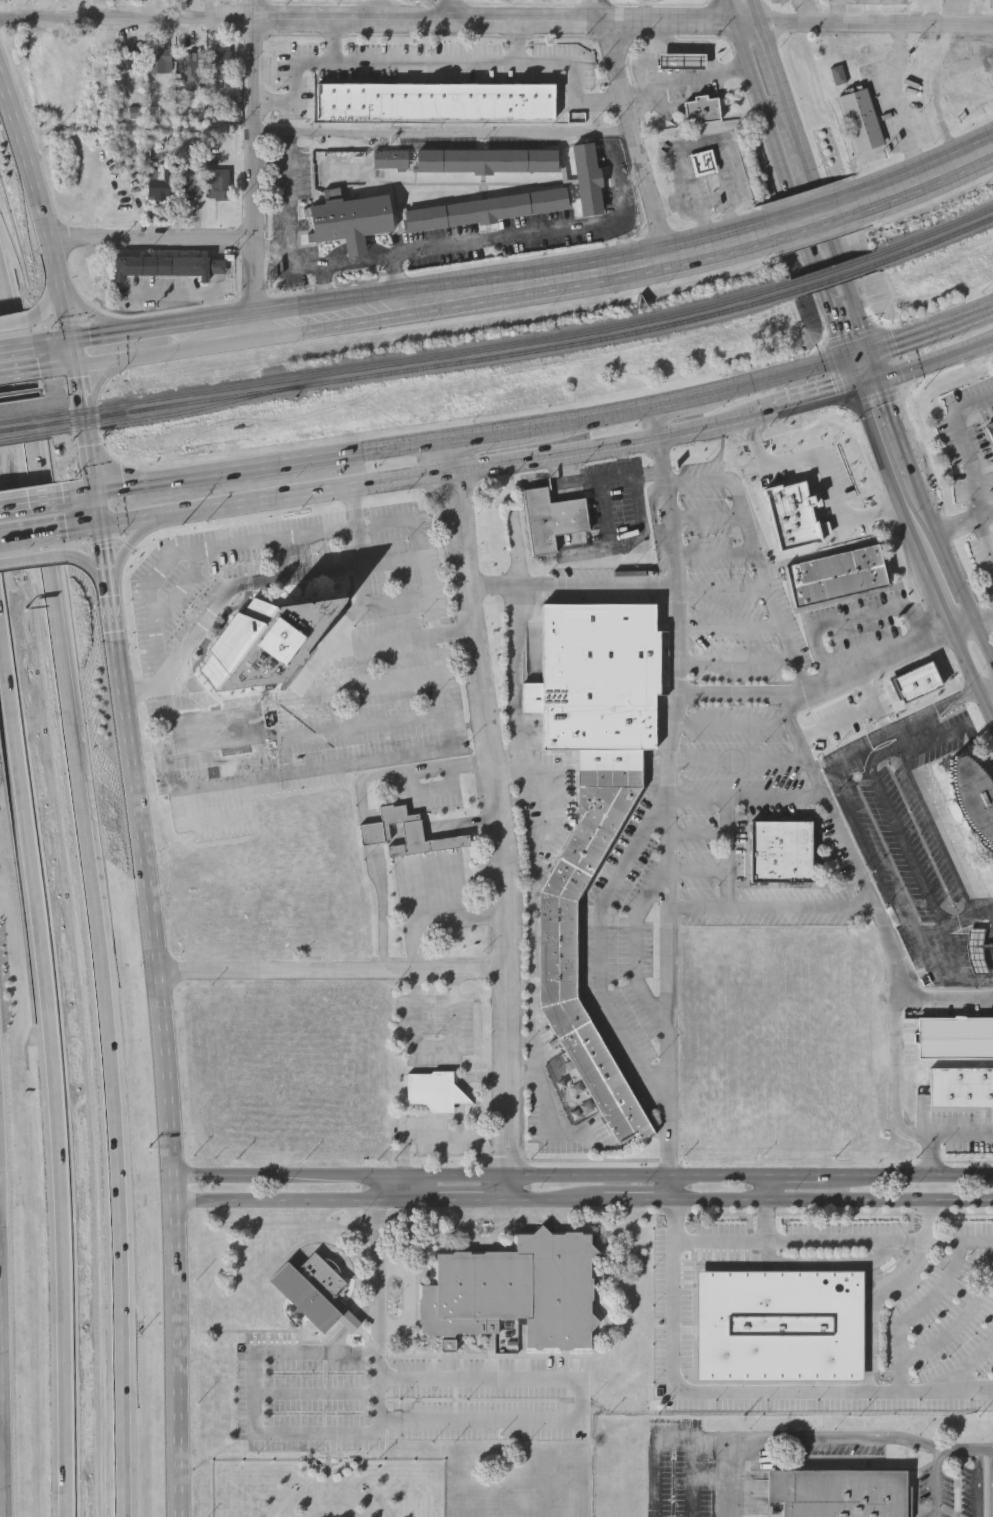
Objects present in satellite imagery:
road: (454, 11)
road: (762, 12)
road: (809, 12)
road: (840, 12)
road: (874, 12)
road: (958, 12)
road: (979, 12)
road: (383, 21)
road: (879, 25)
road: (664, 36)
road: (334, 42)
road: (520, 43)
road: (967, 46)
road: (671, 47)
building: (134, 58)
road: (777, 58)
building: (160, 62)
road: (436, 64)
building: (681, 64)
gas station: (681, 64)
building: (218, 65)
road: (979, 68)
building: (838, 75)
road: (688, 79)
building: (966, 91)
road: (761, 99)
road: (899, 102)
building: (434, 103)
road: (938, 108)
building: (701, 110)
building: (860, 120)
road: (460, 132)
road: (638, 140)
road: (697, 140)
road: (803, 140)
building: (390, 159)
road: (254, 160)
building: (487, 162)
building: (701, 165)
road: (929, 174)
building: (587, 181)
building: (190, 183)
building: (219, 185)
building: (160, 187)
road: (291, 195)
road: (40, 201)
building: (487, 211)
road: (826, 214)
road: (815, 217)
building: (351, 223)
road: (800, 225)
railway: (931, 233)
road: (153, 238)
railway: (933, 241)
road: (468, 247)
road: (273, 251)
building: (167, 267)
railway: (833, 270)
railway: (835, 276)
road: (400, 280)
road: (534, 282)
road: (853, 297)
road: (48, 306)
road: (826, 307)
road: (88, 315)
road: (253, 321)
road: (13, 324)
road: (118, 329)
road: (932, 331)
traffic signals: (72, 336)
road: (14, 345)
traffic signals: (872, 354)
road: (123, 356)
railway: (419, 356)
road: (858, 359)
traffic signals: (77, 364)
railway: (421, 364)
traffic signals: (845, 364)
road: (938, 364)
road: (877, 368)
road: (16, 372)
road: (850, 377)
traffic signals: (883, 382)
road: (869, 386)
traffic signals: (856, 391)
road: (813, 403)
road: (29, 407)
railway: (173, 410)
railway: (20, 416)
railway: (21, 425)
building: (990, 428)
railway: (21, 433)
road: (902, 434)
road: (451, 442)
road: (611, 449)
road: (449, 459)
road: (974, 464)
road: (828, 466)
road: (721, 482)
traffic signals: (96, 496)
road: (255, 504)
road: (27, 505)
road: (904, 510)
road: (654, 513)
building: (797, 516)
road: (466, 517)
road: (710, 518)
road: (448, 520)
building: (552, 521)
road: (965, 522)
traffic signals: (100, 527)
road: (29, 536)
road: (124, 549)
road: (946, 554)
road: (31, 557)
road: (718, 557)
road: (89, 560)
road: (0, 571)
building: (836, 574)
road: (270, 583)
parking lot: (734, 586)
road: (572, 587)
road: (185, 588)
road: (726, 592)
road: (776, 602)
road: (362, 604)
road: (856, 617)
road: (983, 618)
parking lot: (854, 626)
road: (963, 626)
road: (733, 627)
building: (262, 638)
road: (437, 639)
road: (400, 640)
road: (983, 643)
parking lot: (297, 649)
road: (739, 663)
road: (973, 674)
building: (598, 675)
building: (919, 681)
road: (821, 683)
road: (143, 689)
road: (305, 698)
building: (252, 725)
road: (734, 725)
building: (216, 732)
road: (314, 733)
road: (911, 735)
parking lot: (945, 740)
road: (935, 741)
road: (740, 760)
building: (217, 761)
road: (428, 768)
road: (822, 769)
road: (512, 777)
road: (528, 777)
road: (434, 794)
parking lot: (433, 796)
road: (747, 796)
building: (975, 797)
road: (827, 802)
road: (670, 803)
road: (852, 809)
parking lot: (746, 820)
road: (447, 828)
road: (900, 828)
road: (940, 829)
building: (406, 835)
road: (701, 835)
road: (369, 840)
building: (781, 850)
road: (732, 852)
road: (700, 872)
road: (462, 874)
road: (450, 877)
road: (383, 878)
road: (438, 878)
road: (425, 880)
road: (509, 880)
road: (413, 882)
road: (403, 902)
road: (772, 908)
road: (888, 908)
road: (489, 919)
road: (154, 924)
road: (436, 927)
parking lot: (625, 942)
road: (604, 945)
building: (558, 948)
road: (637, 958)
building: (978, 960)
road: (535, 967)
road: (335, 969)
road: (943, 981)
road: (947, 1002)
parking lot: (960, 1009)
parking lot: (435, 1030)
road: (898, 1030)
building: (955, 1037)
road: (111, 1040)
road: (53, 1044)
road: (435, 1048)
road: (469, 1079)
building: (961, 1086)
building: (432, 1092)
road: (546, 1105)
road: (939, 1133)
parking lot: (964, 1133)
parking lot: (442, 1138)
road: (426, 1140)
road: (583, 1178)
road: (584, 1202)
road: (770, 1221)
road: (572, 1226)
road: (821, 1240)
road: (960, 1242)
road: (829, 1261)
road: (380, 1276)
building: (311, 1288)
building: (515, 1292)
road: (410, 1299)
road: (875, 1304)
road: (917, 1312)
road: (960, 1323)
road: (353, 1324)
building: (780, 1324)
road: (969, 1362)
road: (744, 1392)
road: (318, 1394)
road: (0, 1395)
parking lot: (303, 1400)
parking lot: (489, 1400)
road: (581, 1401)
road: (256, 1421)
road: (1, 1434)
road: (798, 1438)
road: (656, 1443)
road: (970, 1451)
road: (693, 1478)
road: (936, 1482)
road: (978, 1484)
park: (328, 1488)
parking lot: (936, 1489)
parking lot: (968, 1492)
building: (837, 1494)
parking lot: (936, 1514)

